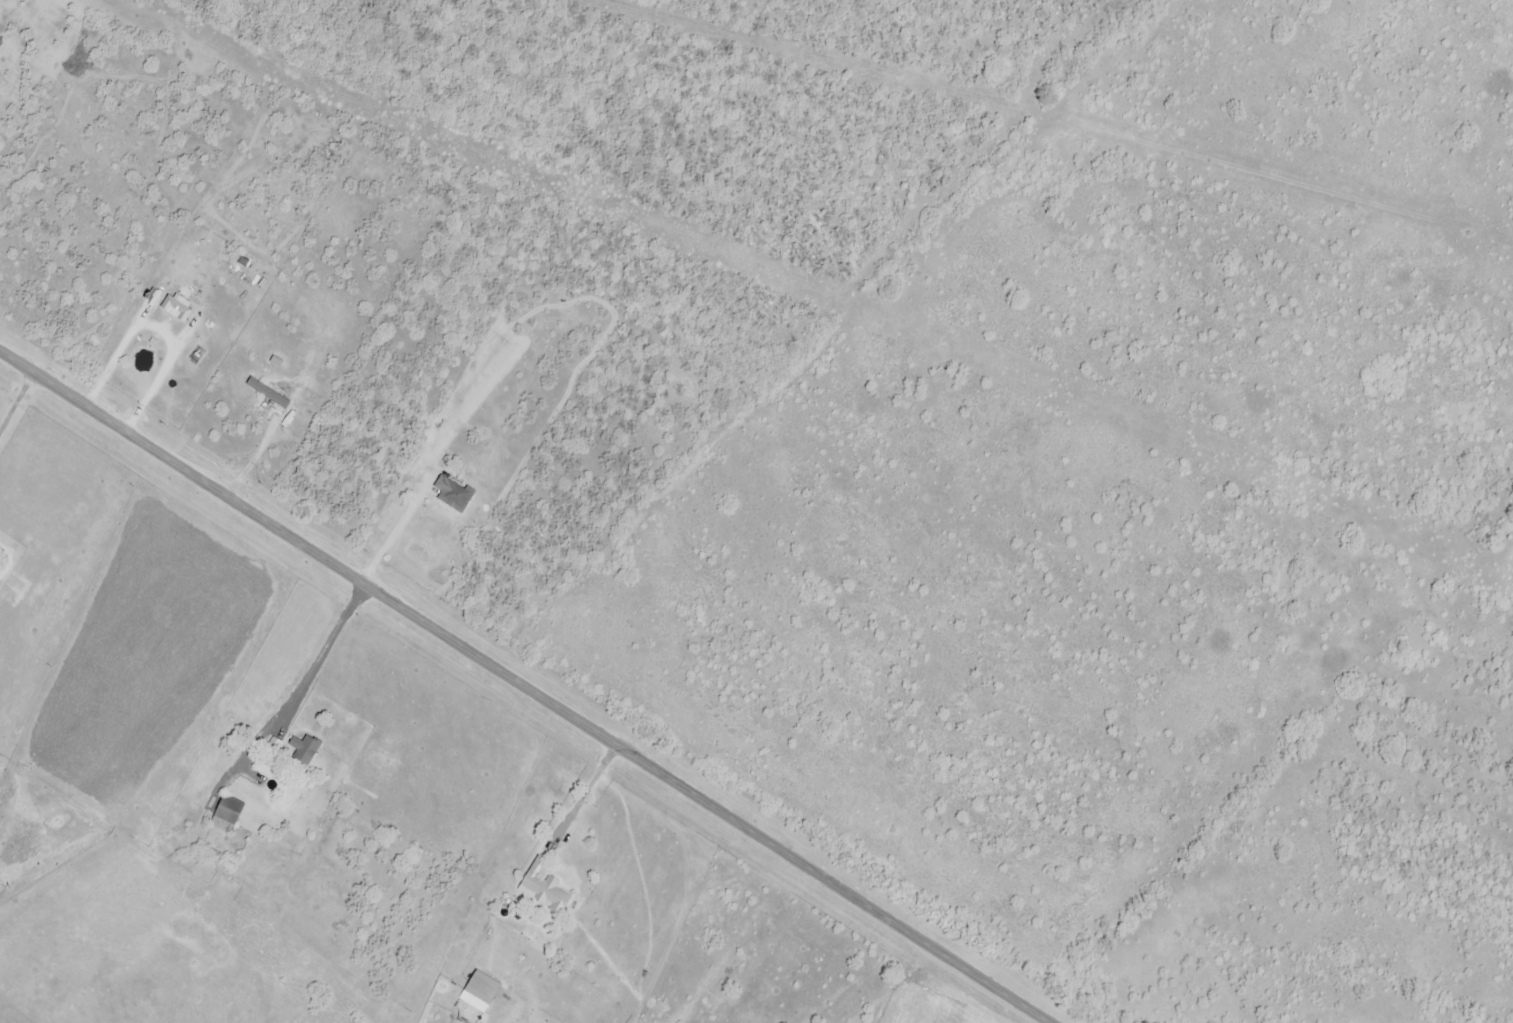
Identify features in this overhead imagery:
road: (154, 330)
road: (15, 398)
building: (456, 495)
road: (387, 538)
road: (525, 687)
building: (304, 751)
building: (227, 814)
building: (481, 987)

